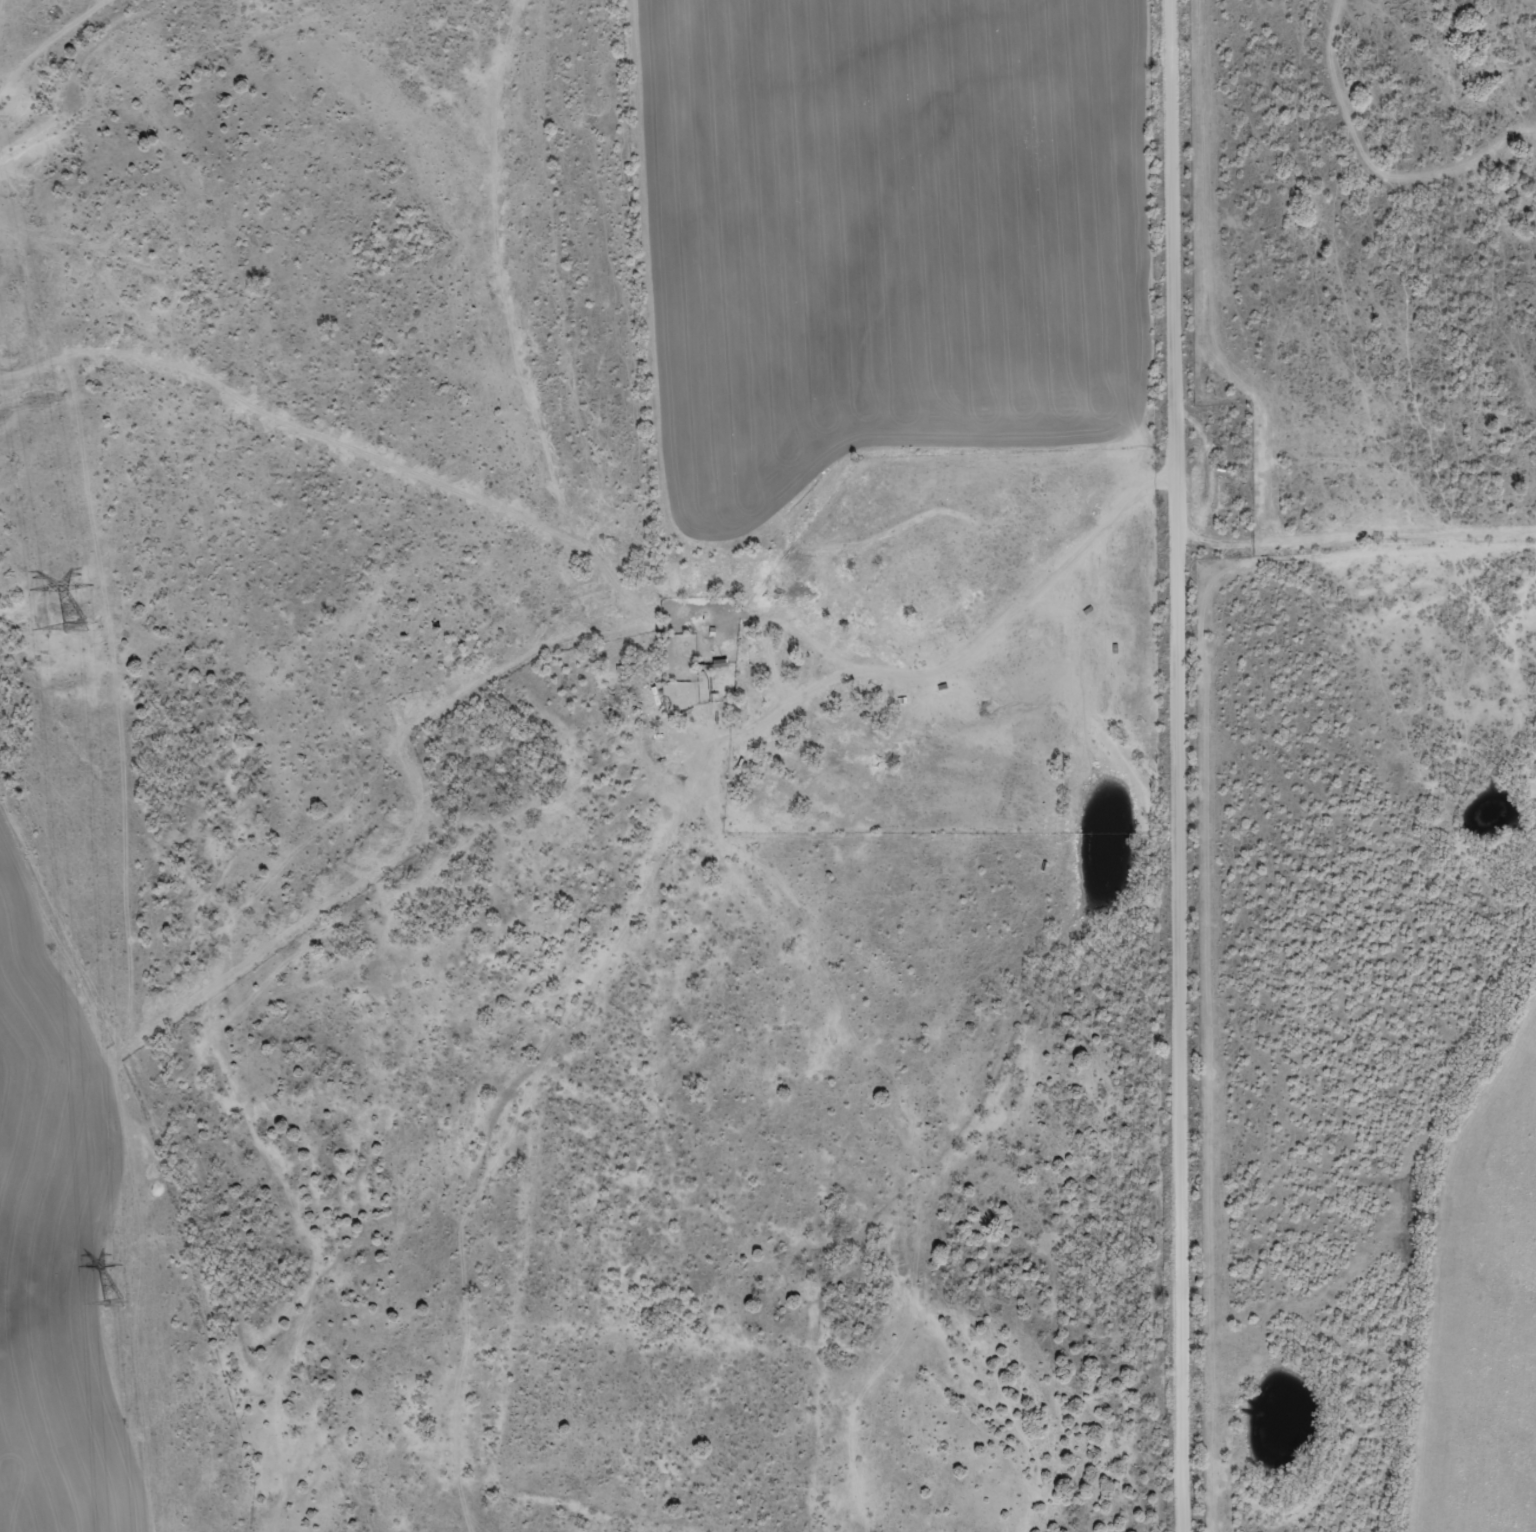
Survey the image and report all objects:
road: (517, 325)
road: (1352, 535)
road: (1019, 608)
power tower: (74, 628)
road: (1175, 765)
power tower: (113, 1304)

